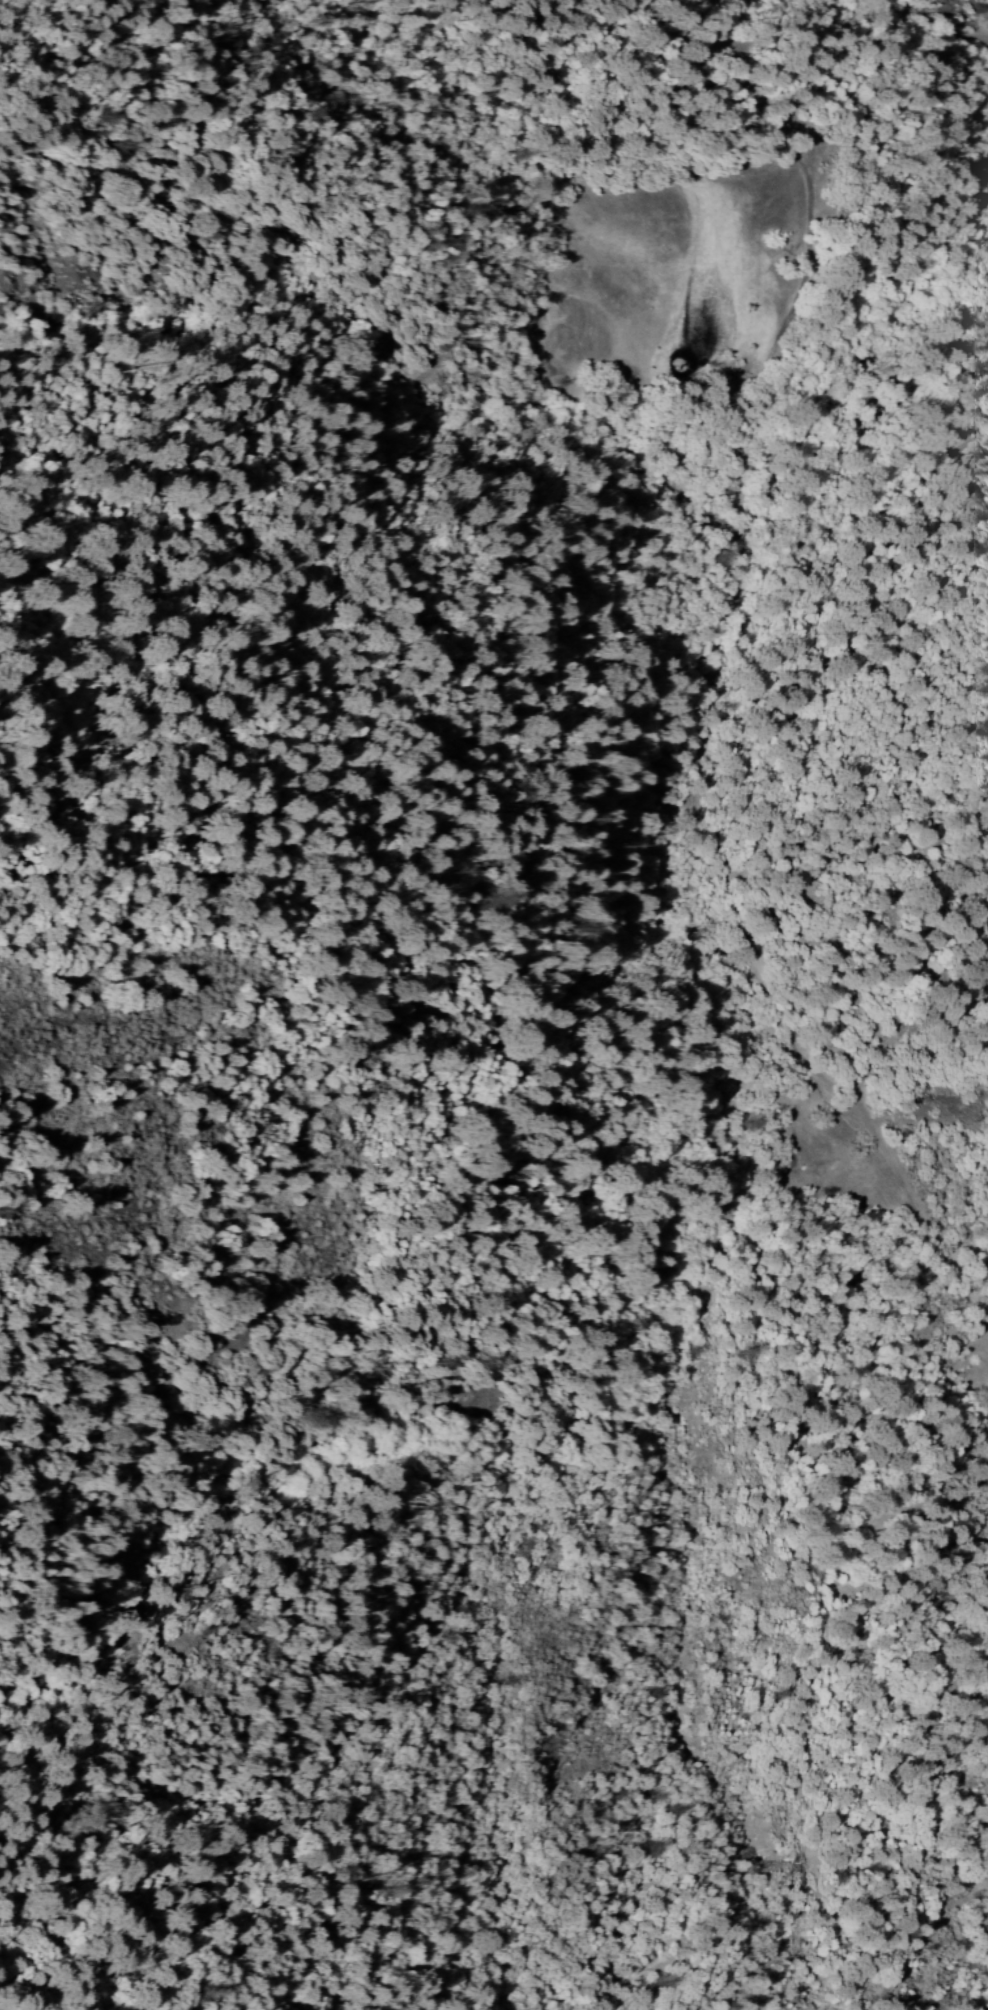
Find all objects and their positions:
road: (645, 476)

